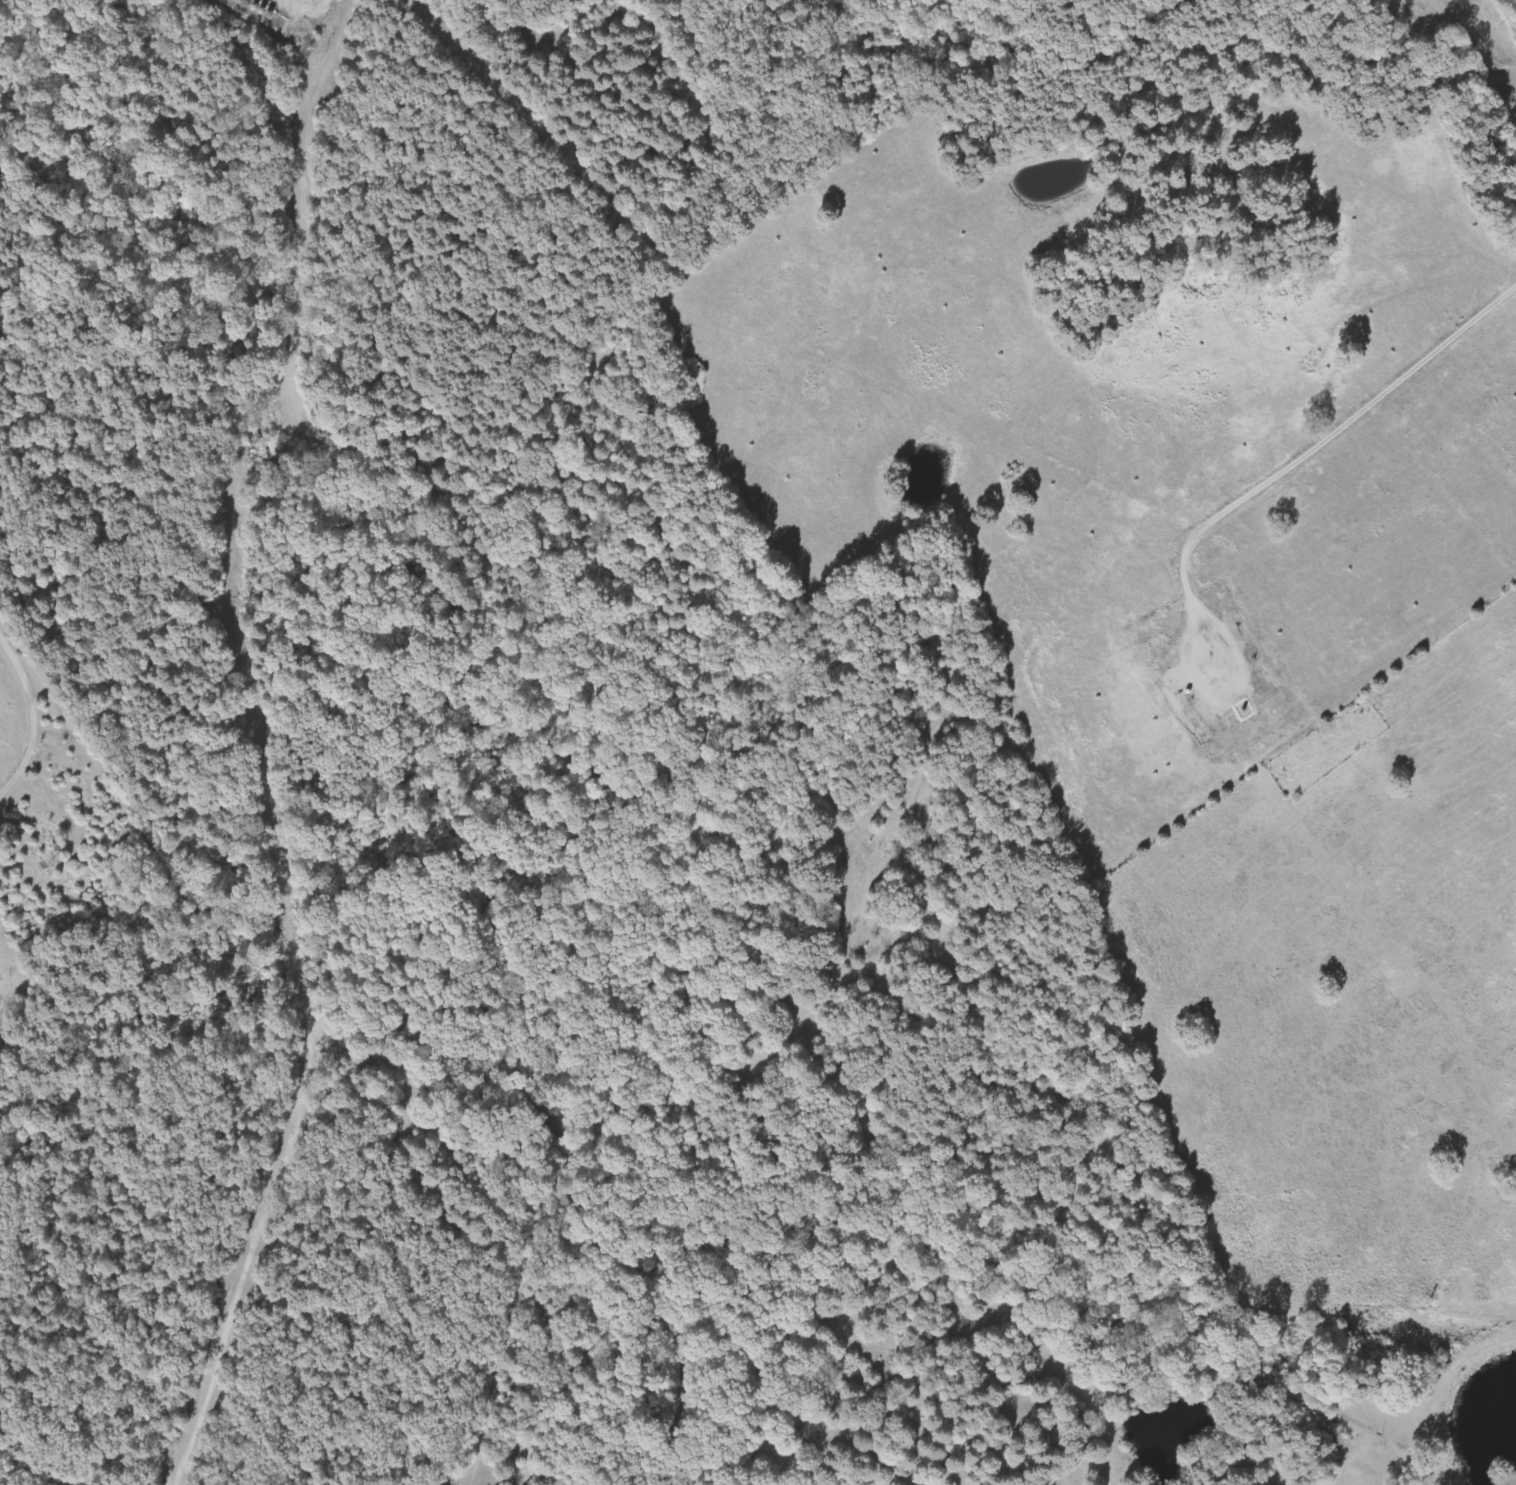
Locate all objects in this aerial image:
road: (1085, 1450)

